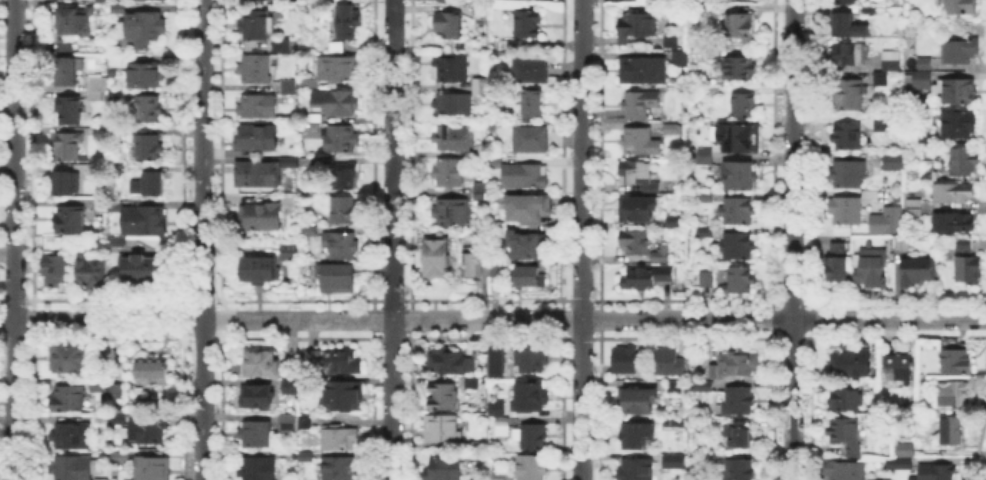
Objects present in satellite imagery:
building: (158, 0)
building: (444, 1)
building: (104, 2)
building: (846, 2)
building: (119, 8)
building: (960, 8)
building: (482, 10)
building: (869, 10)
building: (710, 11)
building: (77, 24)
building: (350, 24)
building: (529, 25)
building: (450, 26)
building: (638, 26)
building: (739, 27)
building: (847, 27)
building: (256, 28)
building: (146, 29)
building: (672, 42)
building: (284, 46)
building: (67, 47)
building: (338, 48)
building: (961, 51)
building: (853, 55)
building: (124, 59)
building: (681, 59)
building: (893, 60)
building: (925, 65)
building: (257, 70)
building: (741, 70)
building: (453, 71)
building: (531, 71)
building: (644, 71)
building: (335, 72)
building: (68, 73)
building: (146, 76)
building: (882, 80)
building: (920, 80)
building: (483, 87)
building: (98, 88)
building: (290, 89)
building: (960, 92)
building: (118, 93)
building: (850, 98)
road: (7, 103)
building: (338, 103)
building: (640, 105)
building: (455, 106)
building: (535, 106)
building: (745, 106)
building: (259, 108)
building: (148, 109)
building: (71, 111)
road: (7, 115)
building: (884, 124)
building: (960, 126)
building: (673, 128)
building: (102, 135)
building: (926, 137)
building: (454, 138)
building: (849, 138)
building: (260, 139)
building: (741, 139)
building: (340, 140)
building: (531, 140)
building: (641, 141)
building: (70, 147)
building: (151, 149)
building: (481, 149)
building: (706, 156)
building: (291, 161)
building: (965, 161)
building: (497, 162)
building: (895, 163)
building: (116, 170)
building: (637, 172)
building: (260, 173)
building: (451, 175)
building: (847, 175)
building: (741, 176)
building: (346, 177)
building: (526, 177)
building: (154, 184)
building: (66, 185)
building: (954, 194)
building: (483, 196)
building: (706, 198)
building: (915, 202)
building: (102, 206)
building: (529, 209)
building: (343, 210)
building: (642, 210)
building: (737, 211)
building: (847, 211)
building: (913, 212)
building: (454, 214)
building: (264, 218)
building: (72, 221)
building: (676, 221)
building: (886, 221)
building: (955, 223)
building: (146, 224)
building: (705, 232)
building: (313, 234)
road: (15, 240)
road: (204, 240)
road: (393, 240)
road: (582, 240)
road: (793, 240)
building: (904, 242)
building: (119, 243)
building: (526, 244)
building: (637, 244)
building: (966, 244)
building: (341, 246)
building: (738, 246)
building: (295, 255)
building: (663, 255)
building: (438, 260)
building: (839, 264)
building: (474, 266)
building: (496, 268)
building: (139, 270)
building: (873, 270)
building: (263, 271)
building: (918, 271)
building: (970, 271)
building: (58, 273)
building: (92, 273)
building: (338, 278)
building: (532, 279)
building: (646, 279)
building: (708, 280)
building: (741, 283)
road: (492, 319)
building: (310, 356)
building: (69, 359)
building: (316, 360)
building: (495, 360)
building: (345, 361)
building: (532, 361)
building: (627, 361)
building: (958, 362)
building: (447, 363)
building: (671, 364)
building: (854, 364)
building: (264, 366)
building: (736, 366)
building: (902, 368)
building: (154, 372)
building: (99, 385)
building: (473, 385)
building: (676, 387)
building: (705, 388)
building: (293, 389)
building: (116, 392)
building: (955, 395)
building: (347, 398)
building: (531, 398)
building: (258, 399)
building: (445, 399)
building: (70, 400)
building: (849, 400)
building: (641, 401)
building: (740, 401)
building: (497, 405)
building: (101, 418)
building: (119, 421)
building: (307, 422)
building: (288, 423)
building: (672, 423)
building: (502, 425)
building: (442, 429)
building: (955, 431)
building: (146, 433)
building: (846, 433)
building: (73, 435)
building: (739, 435)
building: (258, 436)
building: (636, 436)
building: (340, 439)
building: (909, 450)
building: (532, 453)
building: (709, 456)
building: (121, 459)
building: (672, 459)
building: (901, 464)
building: (74, 469)
building: (258, 469)
building: (340, 469)
building: (444, 469)
building: (153, 470)
building: (636, 470)
building: (741, 471)
building: (846, 471)
building: (936, 473)
building: (498, 475)
building: (99, 478)

